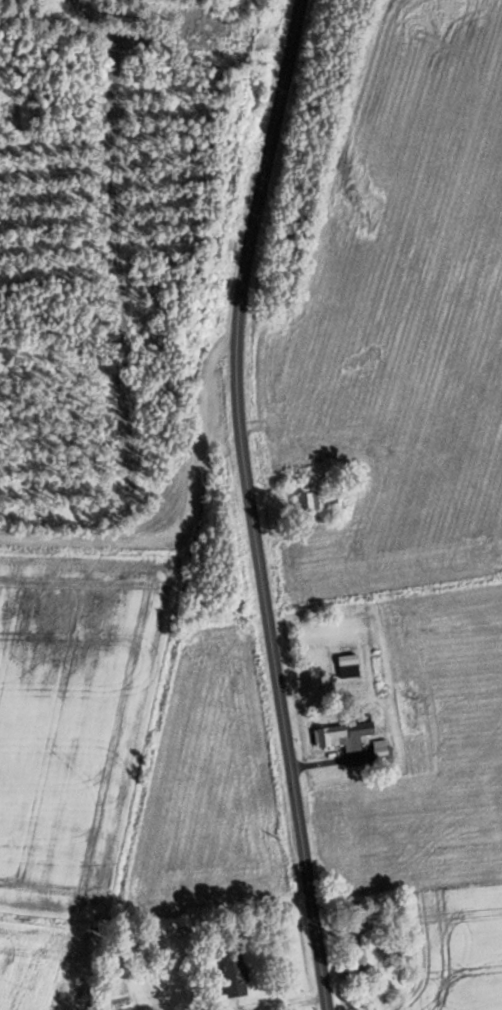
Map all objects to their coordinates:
building: (235, 10)
building: (306, 502)
road: (245, 504)
road: (139, 535)
building: (343, 735)
building: (362, 952)
building: (234, 971)

